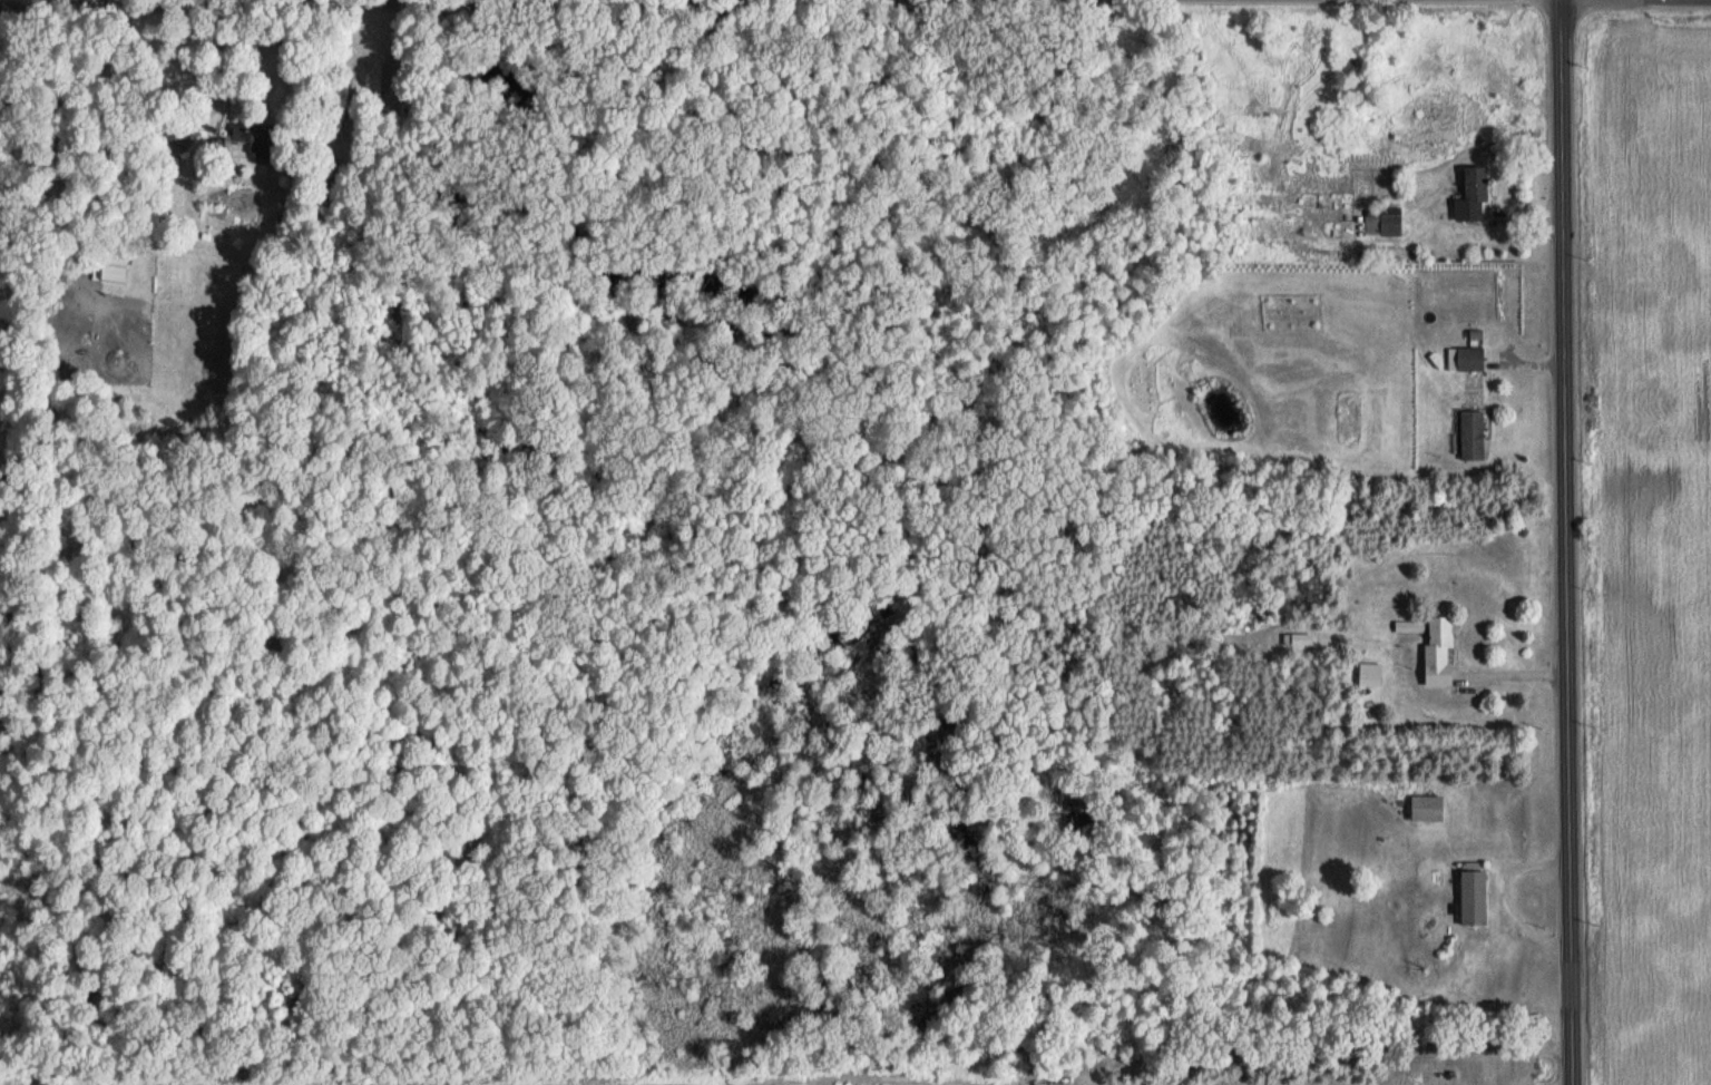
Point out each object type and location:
road: (257, 3)
road: (348, 67)
building: (179, 134)
building: (236, 139)
building: (1472, 194)
building: (1381, 225)
building: (113, 268)
building: (1468, 358)
building: (1470, 434)
road: (1564, 542)
building: (1437, 651)
building: (1368, 674)
building: (1472, 897)

